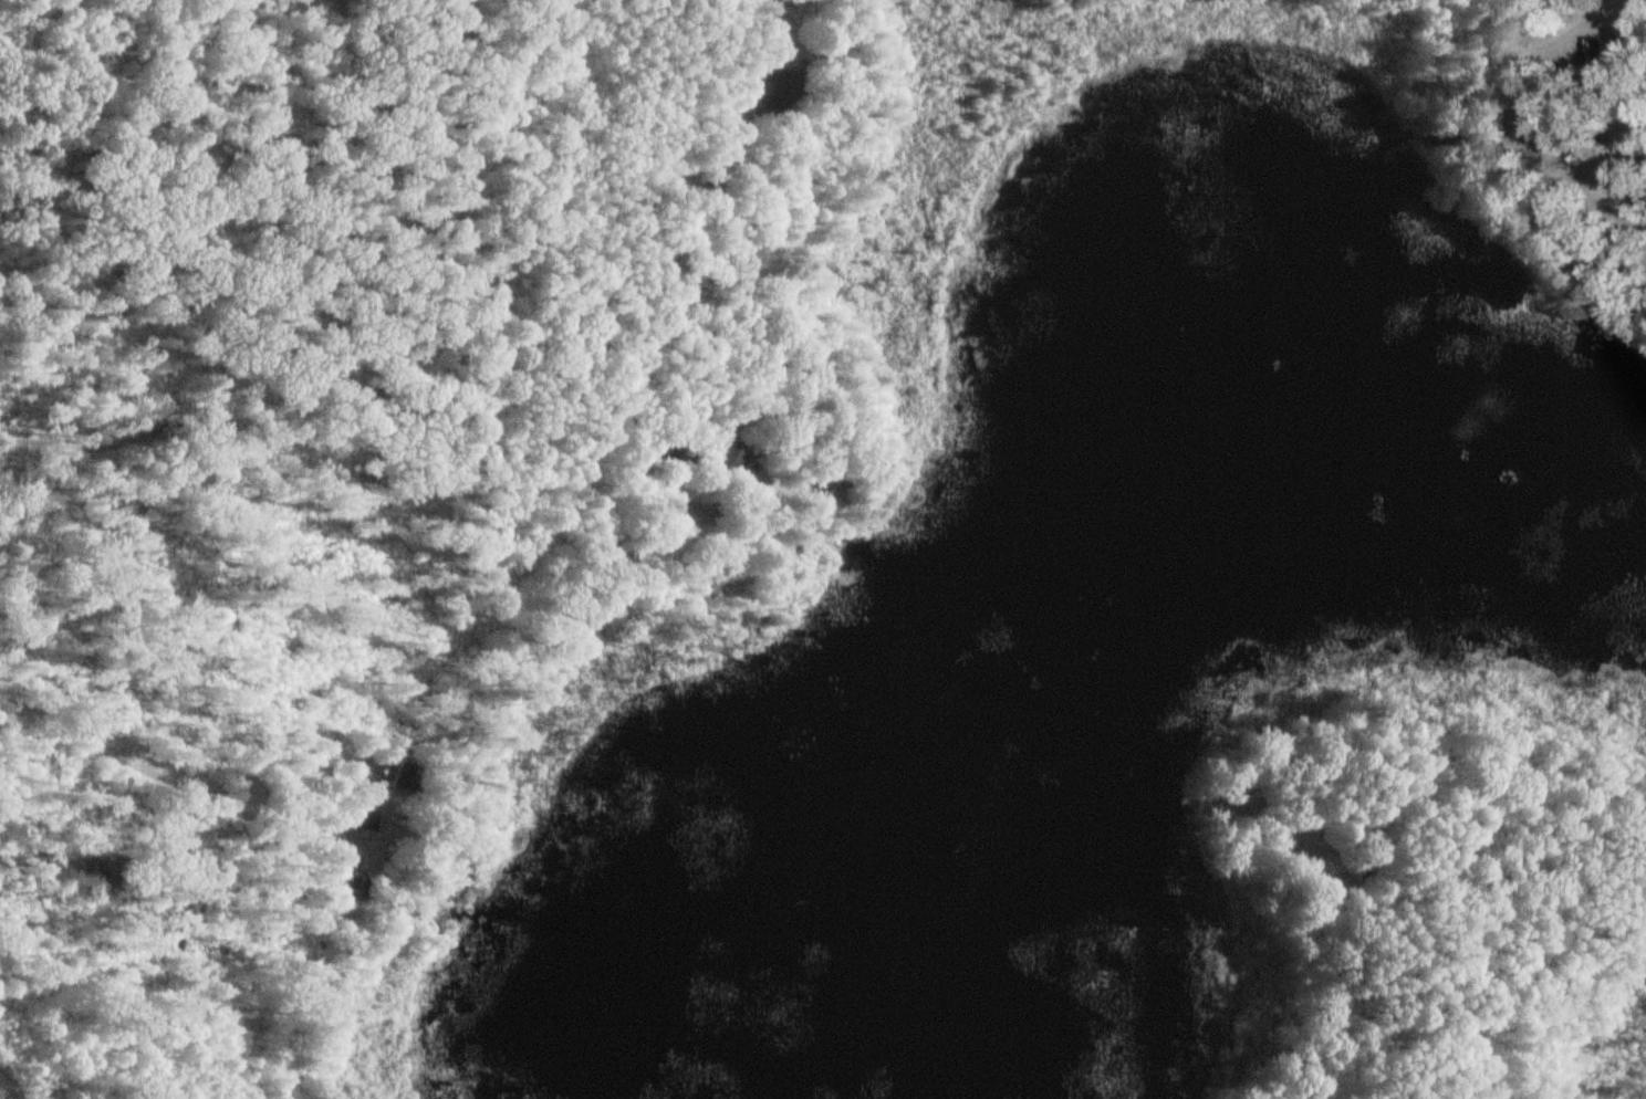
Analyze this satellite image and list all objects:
road: (1532, 81)
building: (783, 84)
building: (408, 779)
road: (181, 795)

